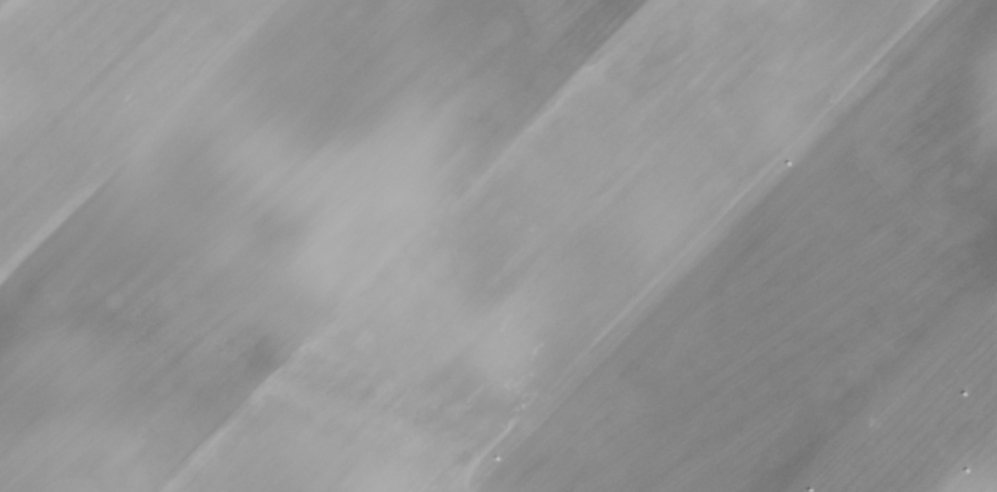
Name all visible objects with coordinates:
crop: (498, 246)

